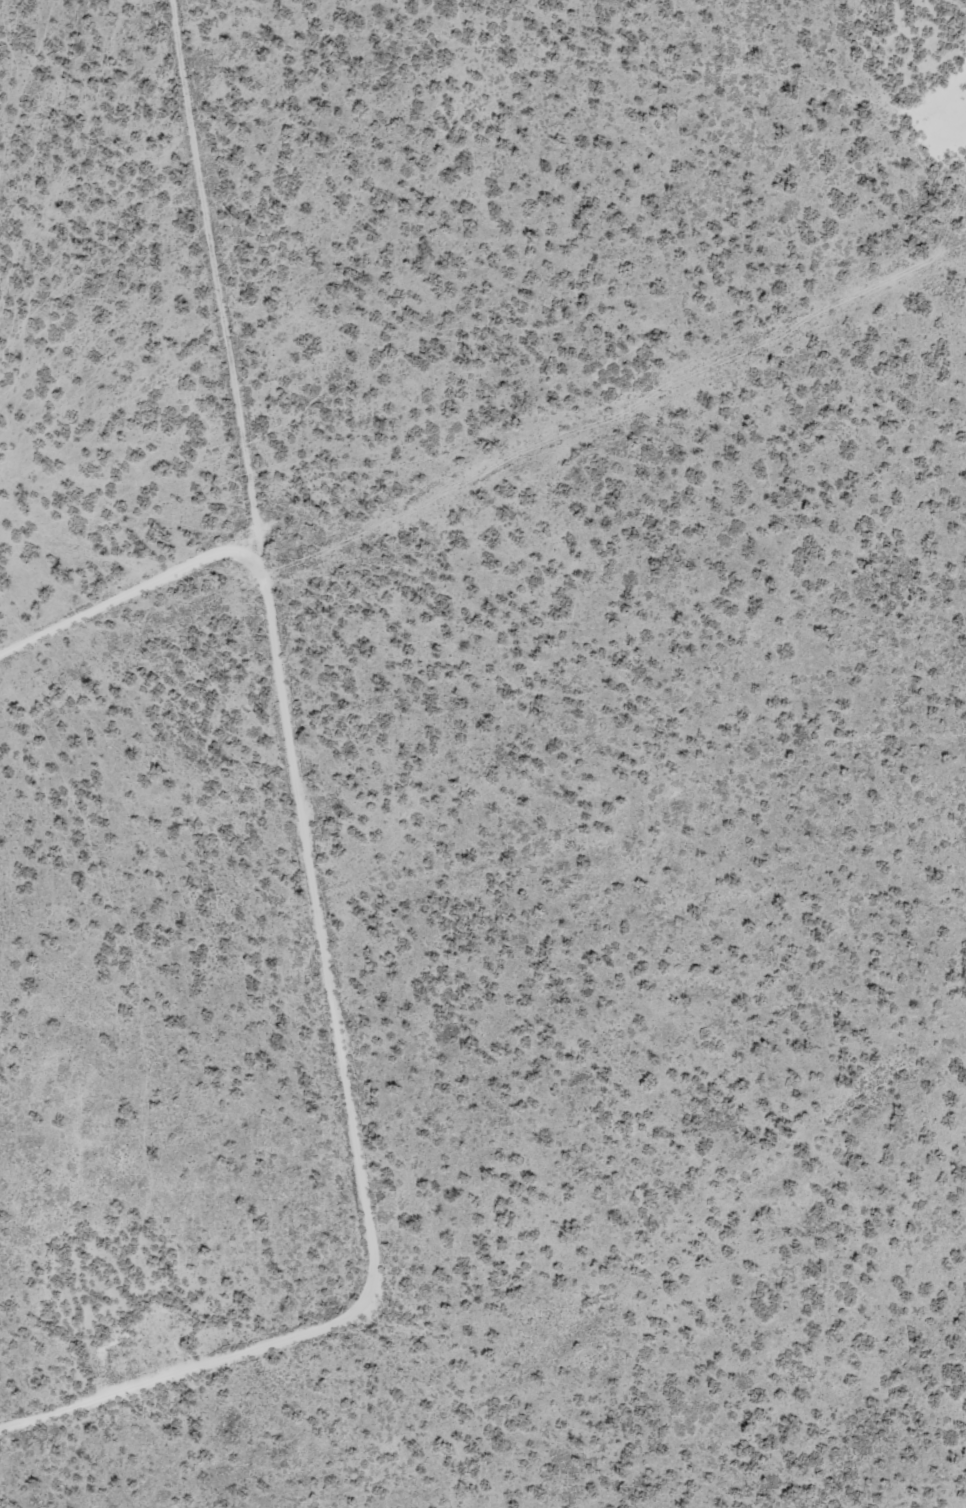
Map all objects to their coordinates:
road: (41, 1415)

